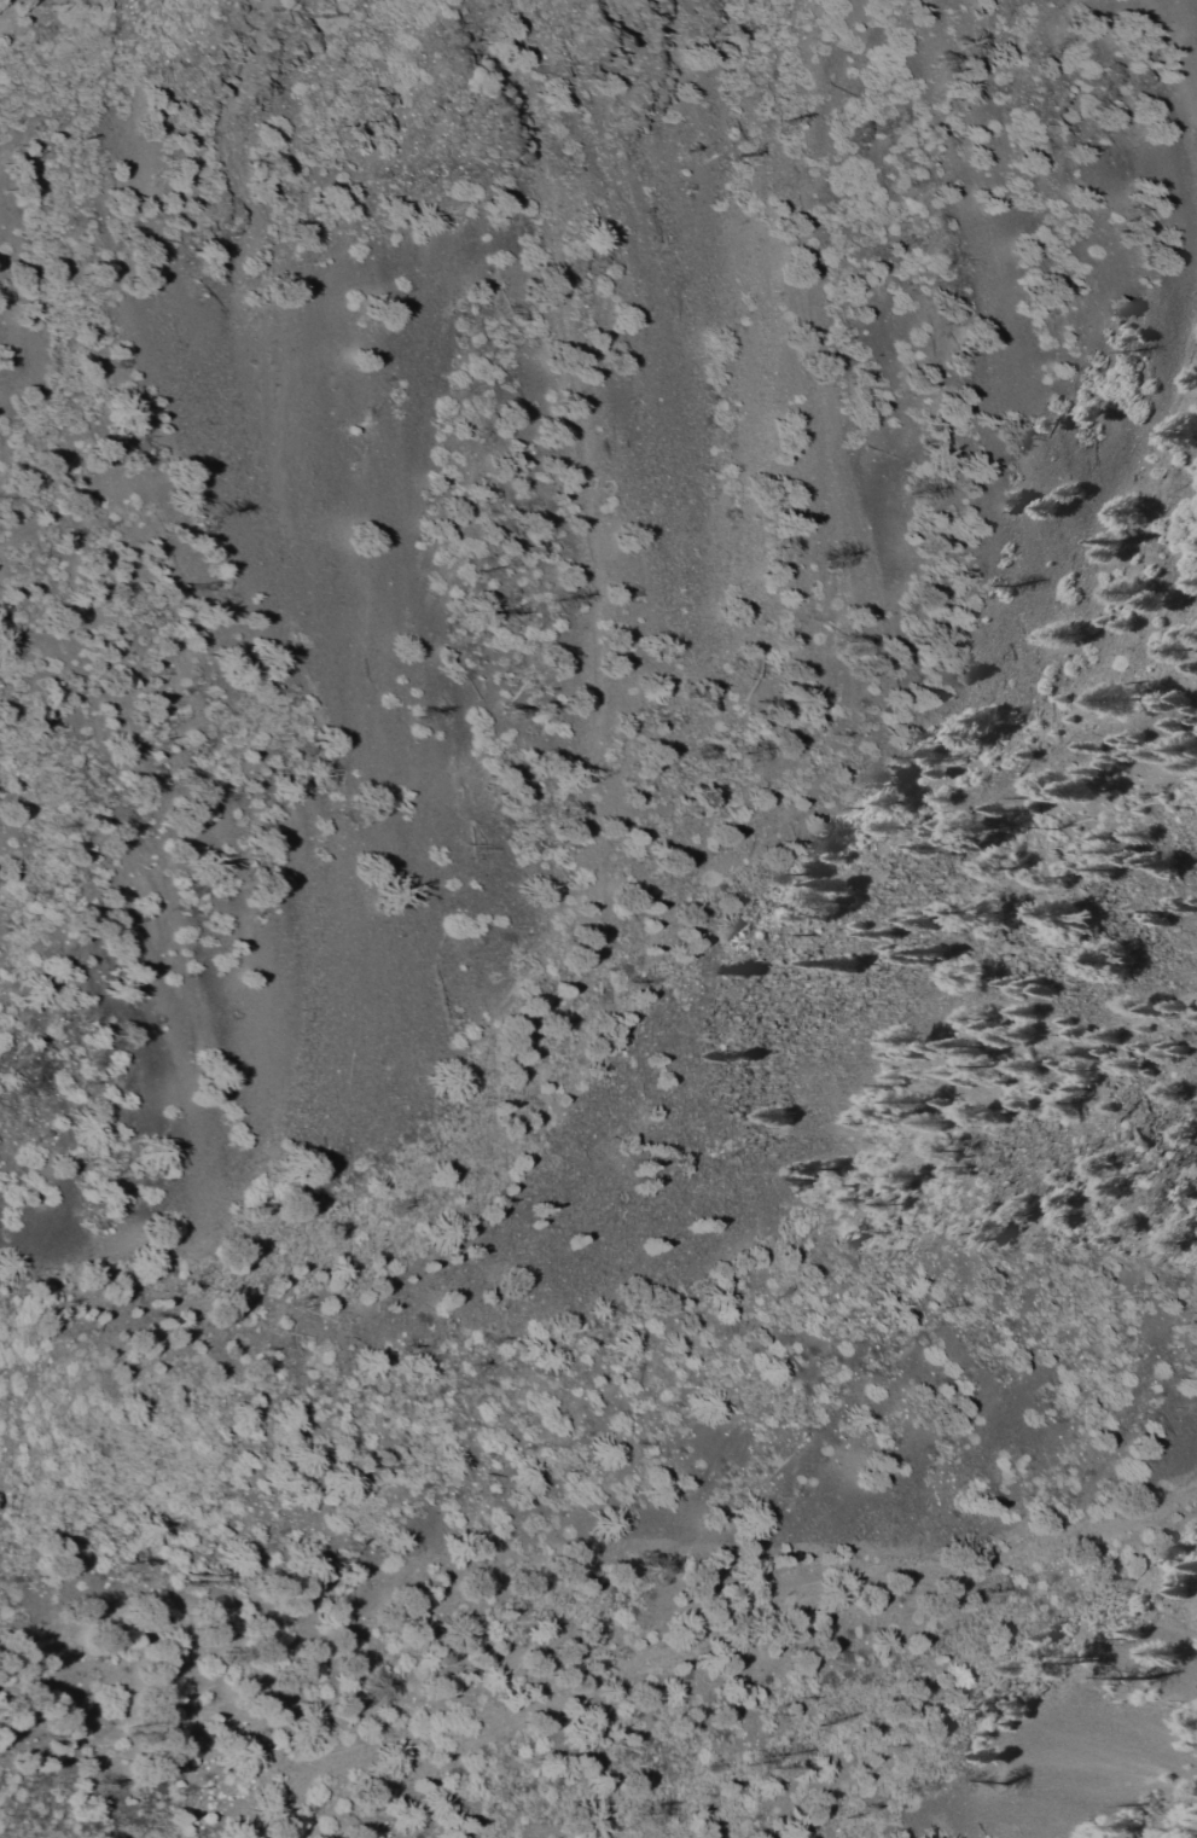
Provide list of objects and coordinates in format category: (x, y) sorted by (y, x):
road: (163, 1706)
road: (21, 1769)
helipad: (10, 1811)

